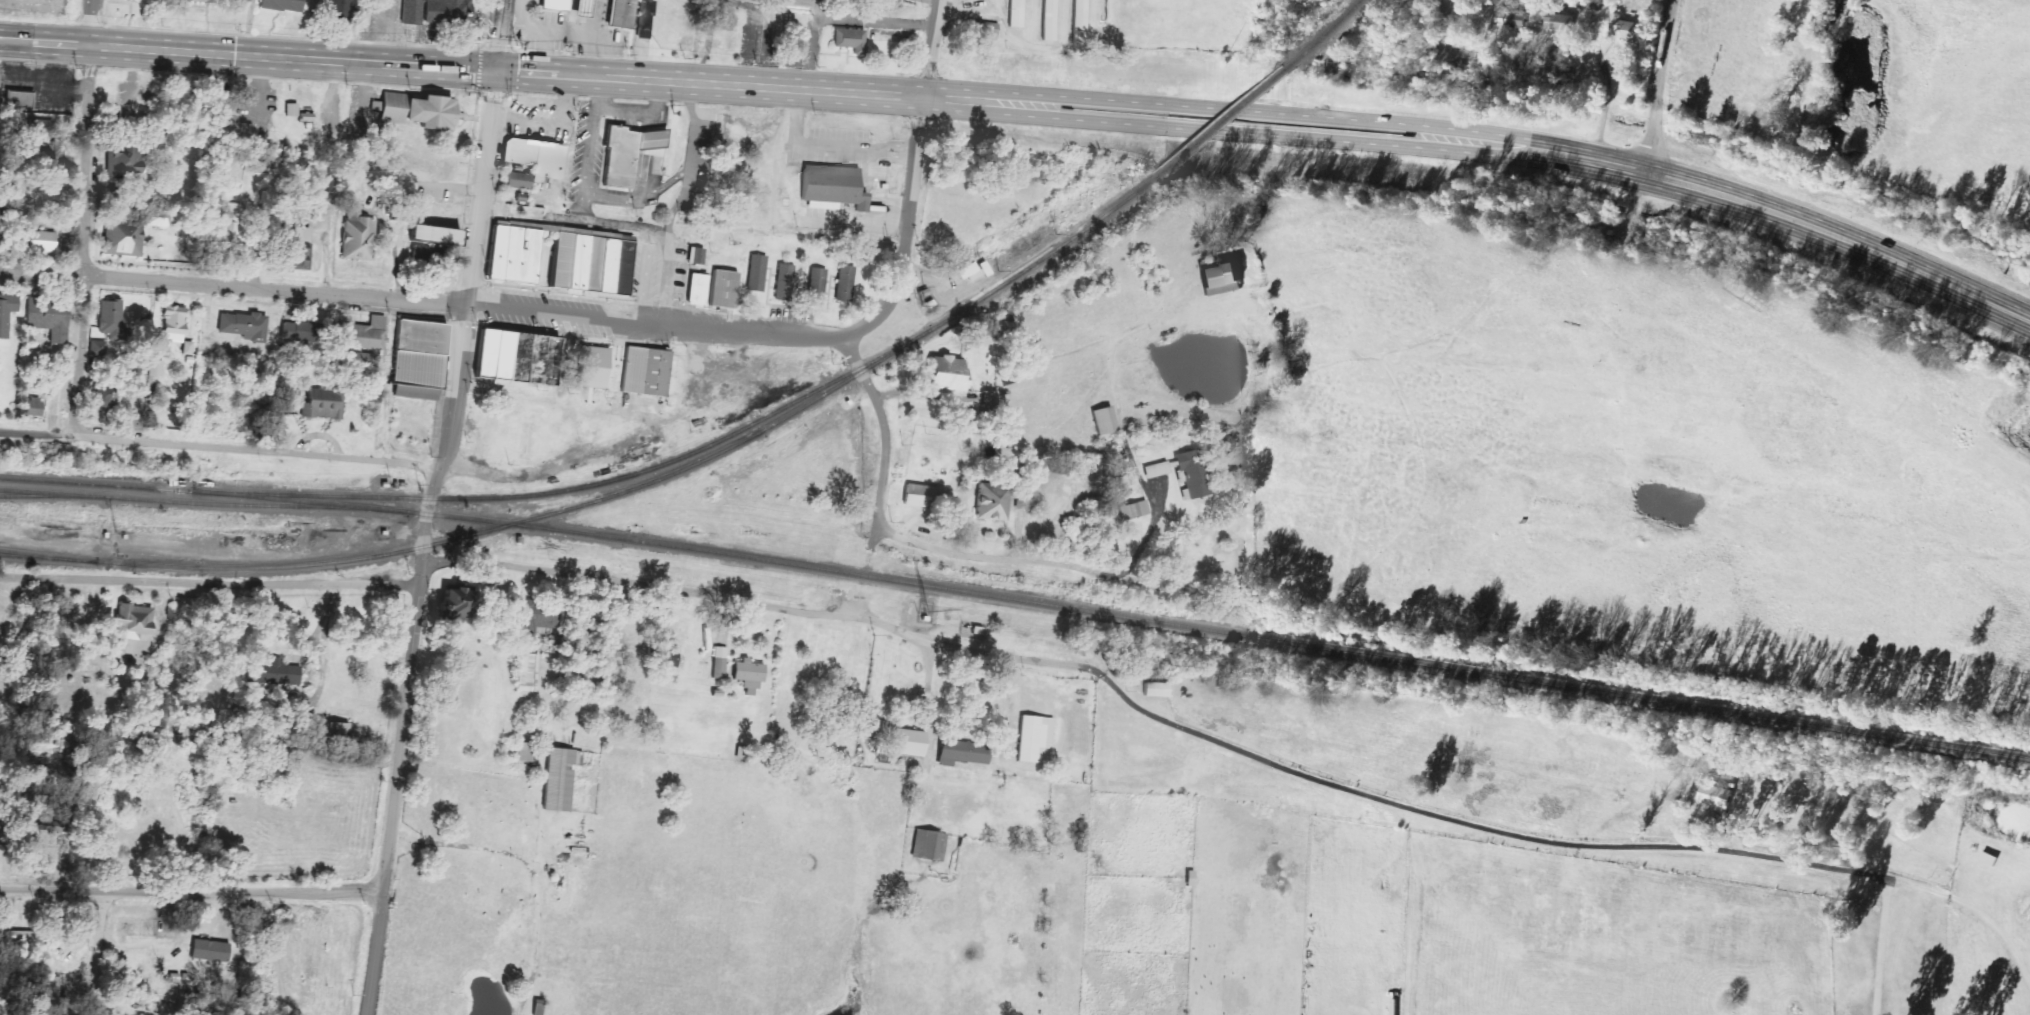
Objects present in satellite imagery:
building: (202, 1)
building: (792, 2)
building: (554, 4)
building: (281, 5)
building: (338, 8)
building: (451, 11)
building: (411, 12)
building: (620, 13)
building: (1015, 13)
building: (643, 19)
building: (1049, 20)
road: (94, 23)
building: (1561, 23)
building: (1078, 24)
building: (1626, 26)
building: (982, 28)
railway: (1323, 32)
road: (501, 35)
building: (849, 38)
road: (931, 48)
road: (248, 55)
traffic signals: (497, 71)
road: (1655, 86)
road: (774, 87)
building: (16, 101)
building: (291, 109)
road: (1243, 109)
building: (418, 111)
railway: (1227, 117)
road: (1241, 131)
building: (625, 154)
building: (534, 157)
building: (122, 162)
building: (517, 180)
road: (1672, 180)
building: (832, 186)
building: (157, 220)
building: (231, 227)
building: (356, 234)
building: (432, 234)
building: (121, 236)
building: (40, 241)
road: (87, 241)
road: (904, 249)
building: (297, 250)
building: (511, 253)
building: (588, 262)
building: (972, 271)
building: (756, 273)
building: (1219, 275)
building: (785, 280)
building: (845, 283)
road: (232, 286)
building: (816, 286)
building: (696, 289)
building: (723, 289)
road: (1965, 293)
building: (6, 312)
road: (462, 315)
building: (109, 317)
building: (48, 319)
building: (172, 323)
building: (243, 326)
road: (652, 327)
building: (308, 331)
building: (360, 343)
building: (97, 348)
building: (186, 348)
building: (492, 354)
building: (417, 360)
building: (592, 367)
building: (156, 368)
building: (645, 371)
building: (945, 373)
railway: (852, 375)
building: (104, 396)
building: (323, 404)
building: (32, 407)
building: (1103, 421)
road: (220, 448)
building: (1156, 469)
building: (1194, 473)
railway: (587, 484)
railway: (203, 491)
road: (880, 491)
railway: (54, 496)
building: (923, 496)
building: (991, 502)
railway: (203, 504)
building: (1134, 510)
road: (1148, 536)
railway: (47, 555)
road: (999, 559)
railway: (258, 567)
road: (209, 585)
road: (637, 585)
building: (454, 605)
building: (537, 618)
building: (132, 629)
railway: (1219, 629)
road: (912, 637)
building: (664, 655)
building: (719, 661)
road: (1032, 662)
building: (527, 672)
building: (271, 673)
building: (748, 675)
building: (1156, 690)
building: (335, 733)
building: (1034, 738)
building: (904, 742)
building: (524, 752)
building: (961, 753)
building: (559, 778)
road: (394, 786)
building: (1715, 796)
building: (928, 845)
road: (190, 893)
building: (209, 951)
road: (96, 953)
building: (50, 988)

